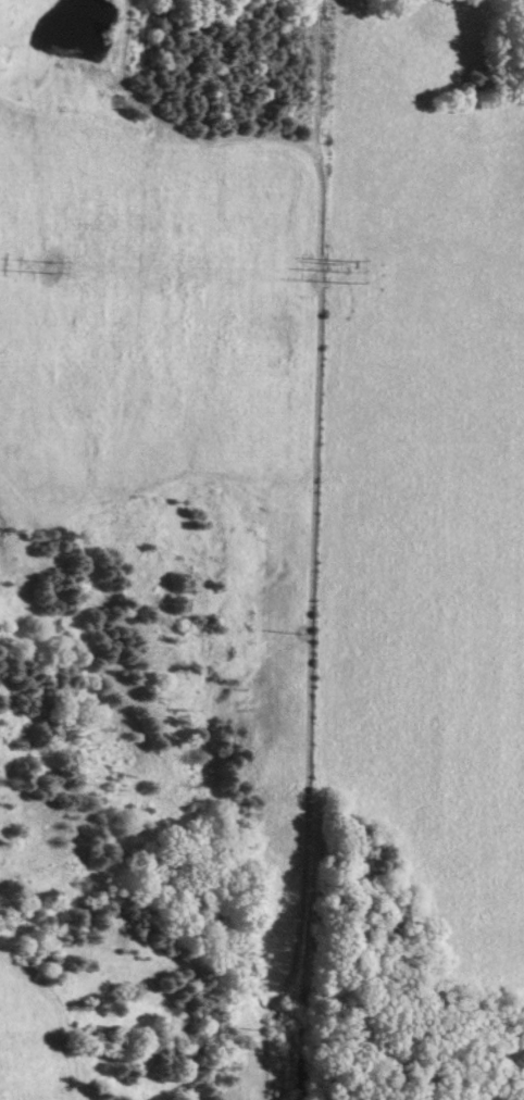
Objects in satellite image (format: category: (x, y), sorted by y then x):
power tower: (346, 255)
power tower: (46, 261)
power tower: (347, 267)
power tower: (347, 280)

